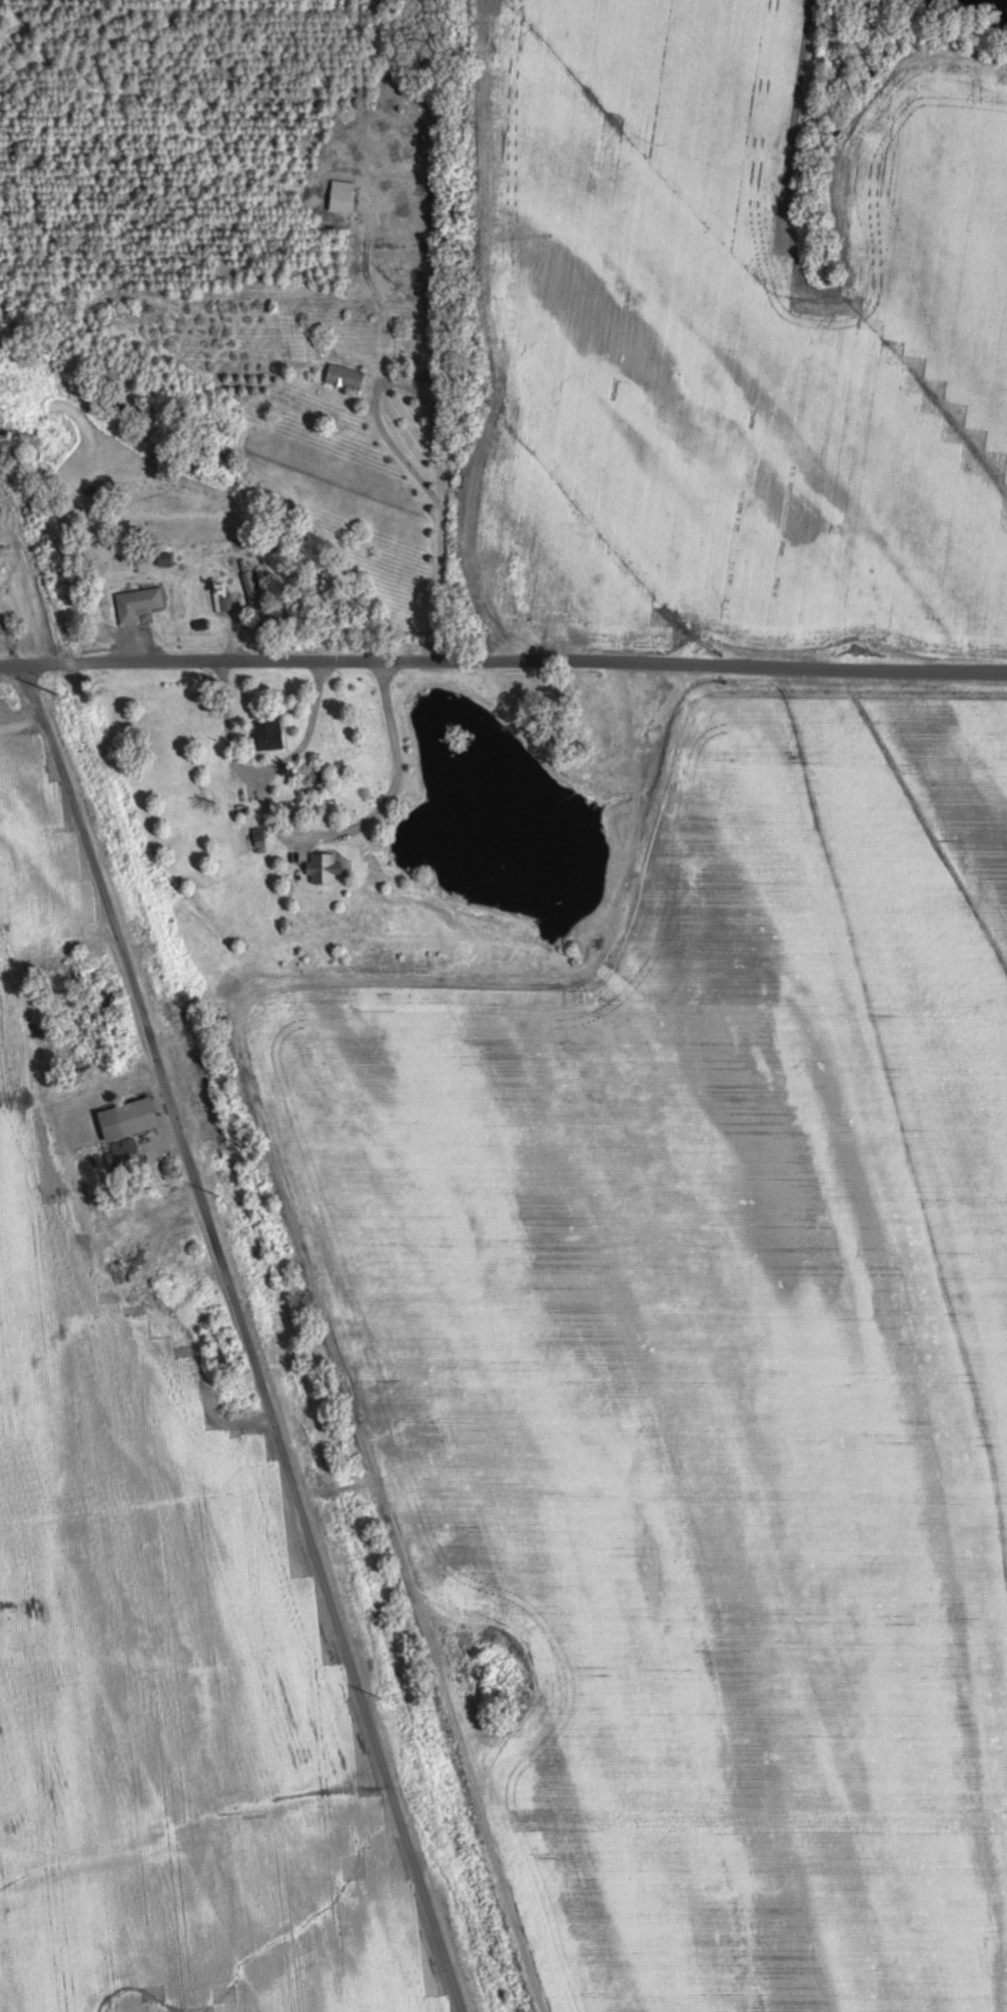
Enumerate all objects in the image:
building: (342, 196)
building: (345, 377)
building: (253, 591)
building: (138, 604)
road: (8, 644)
road: (503, 660)
power tower: (58, 694)
building: (269, 735)
building: (238, 801)
building: (324, 868)
building: (103, 997)
building: (130, 1119)
power tower: (219, 1192)
railway: (253, 1229)
road: (241, 1335)
power tower: (381, 1696)

